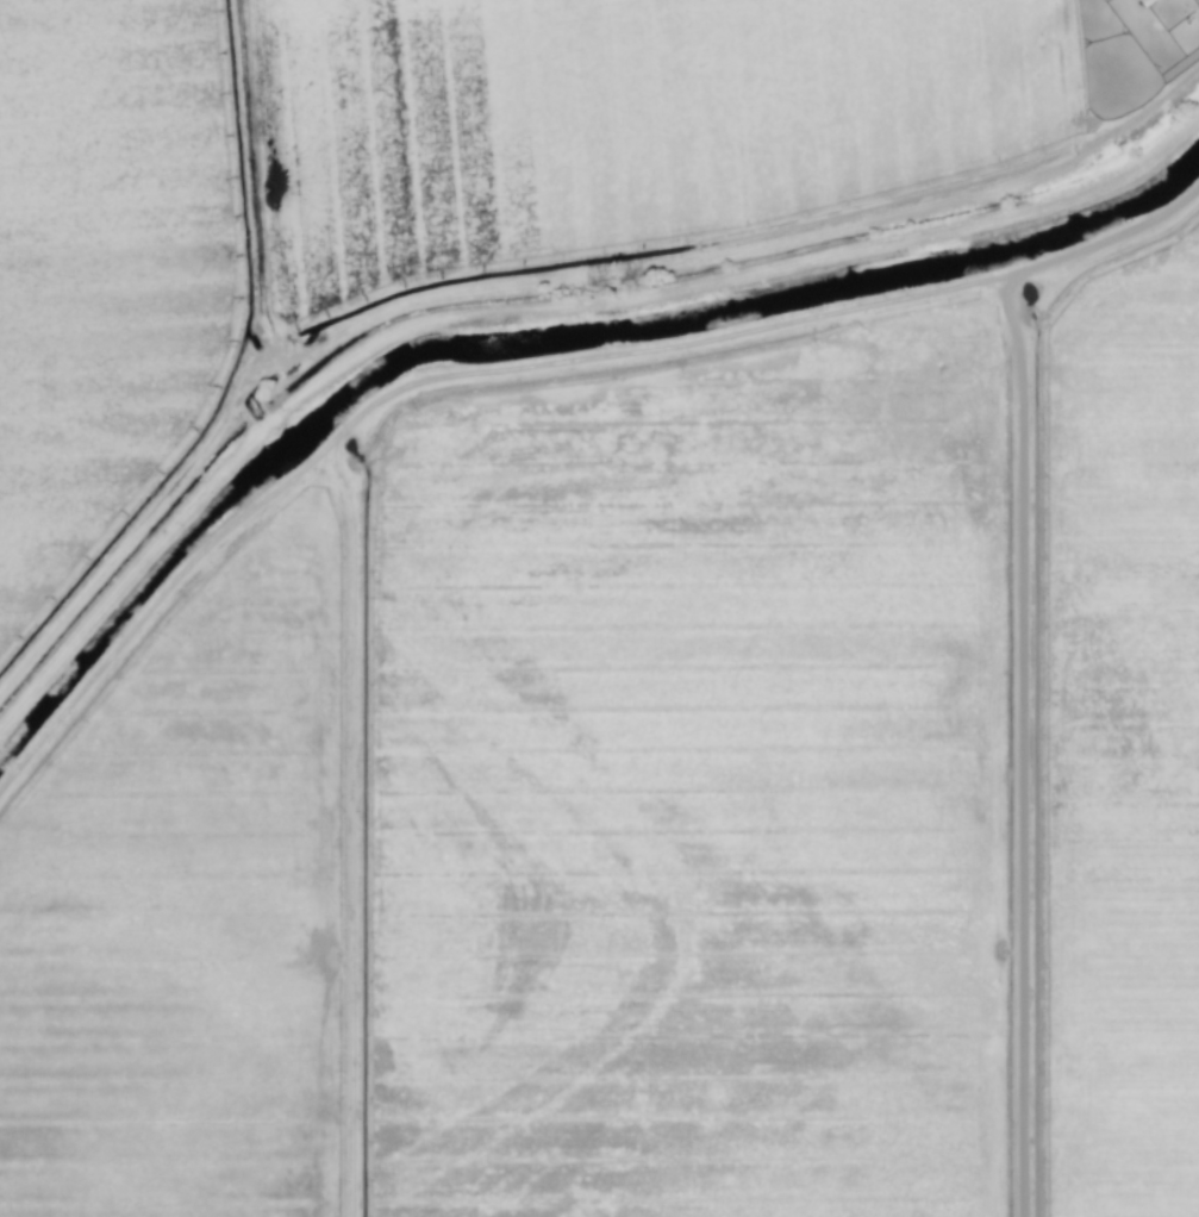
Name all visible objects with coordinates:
building: (1149, 2)

